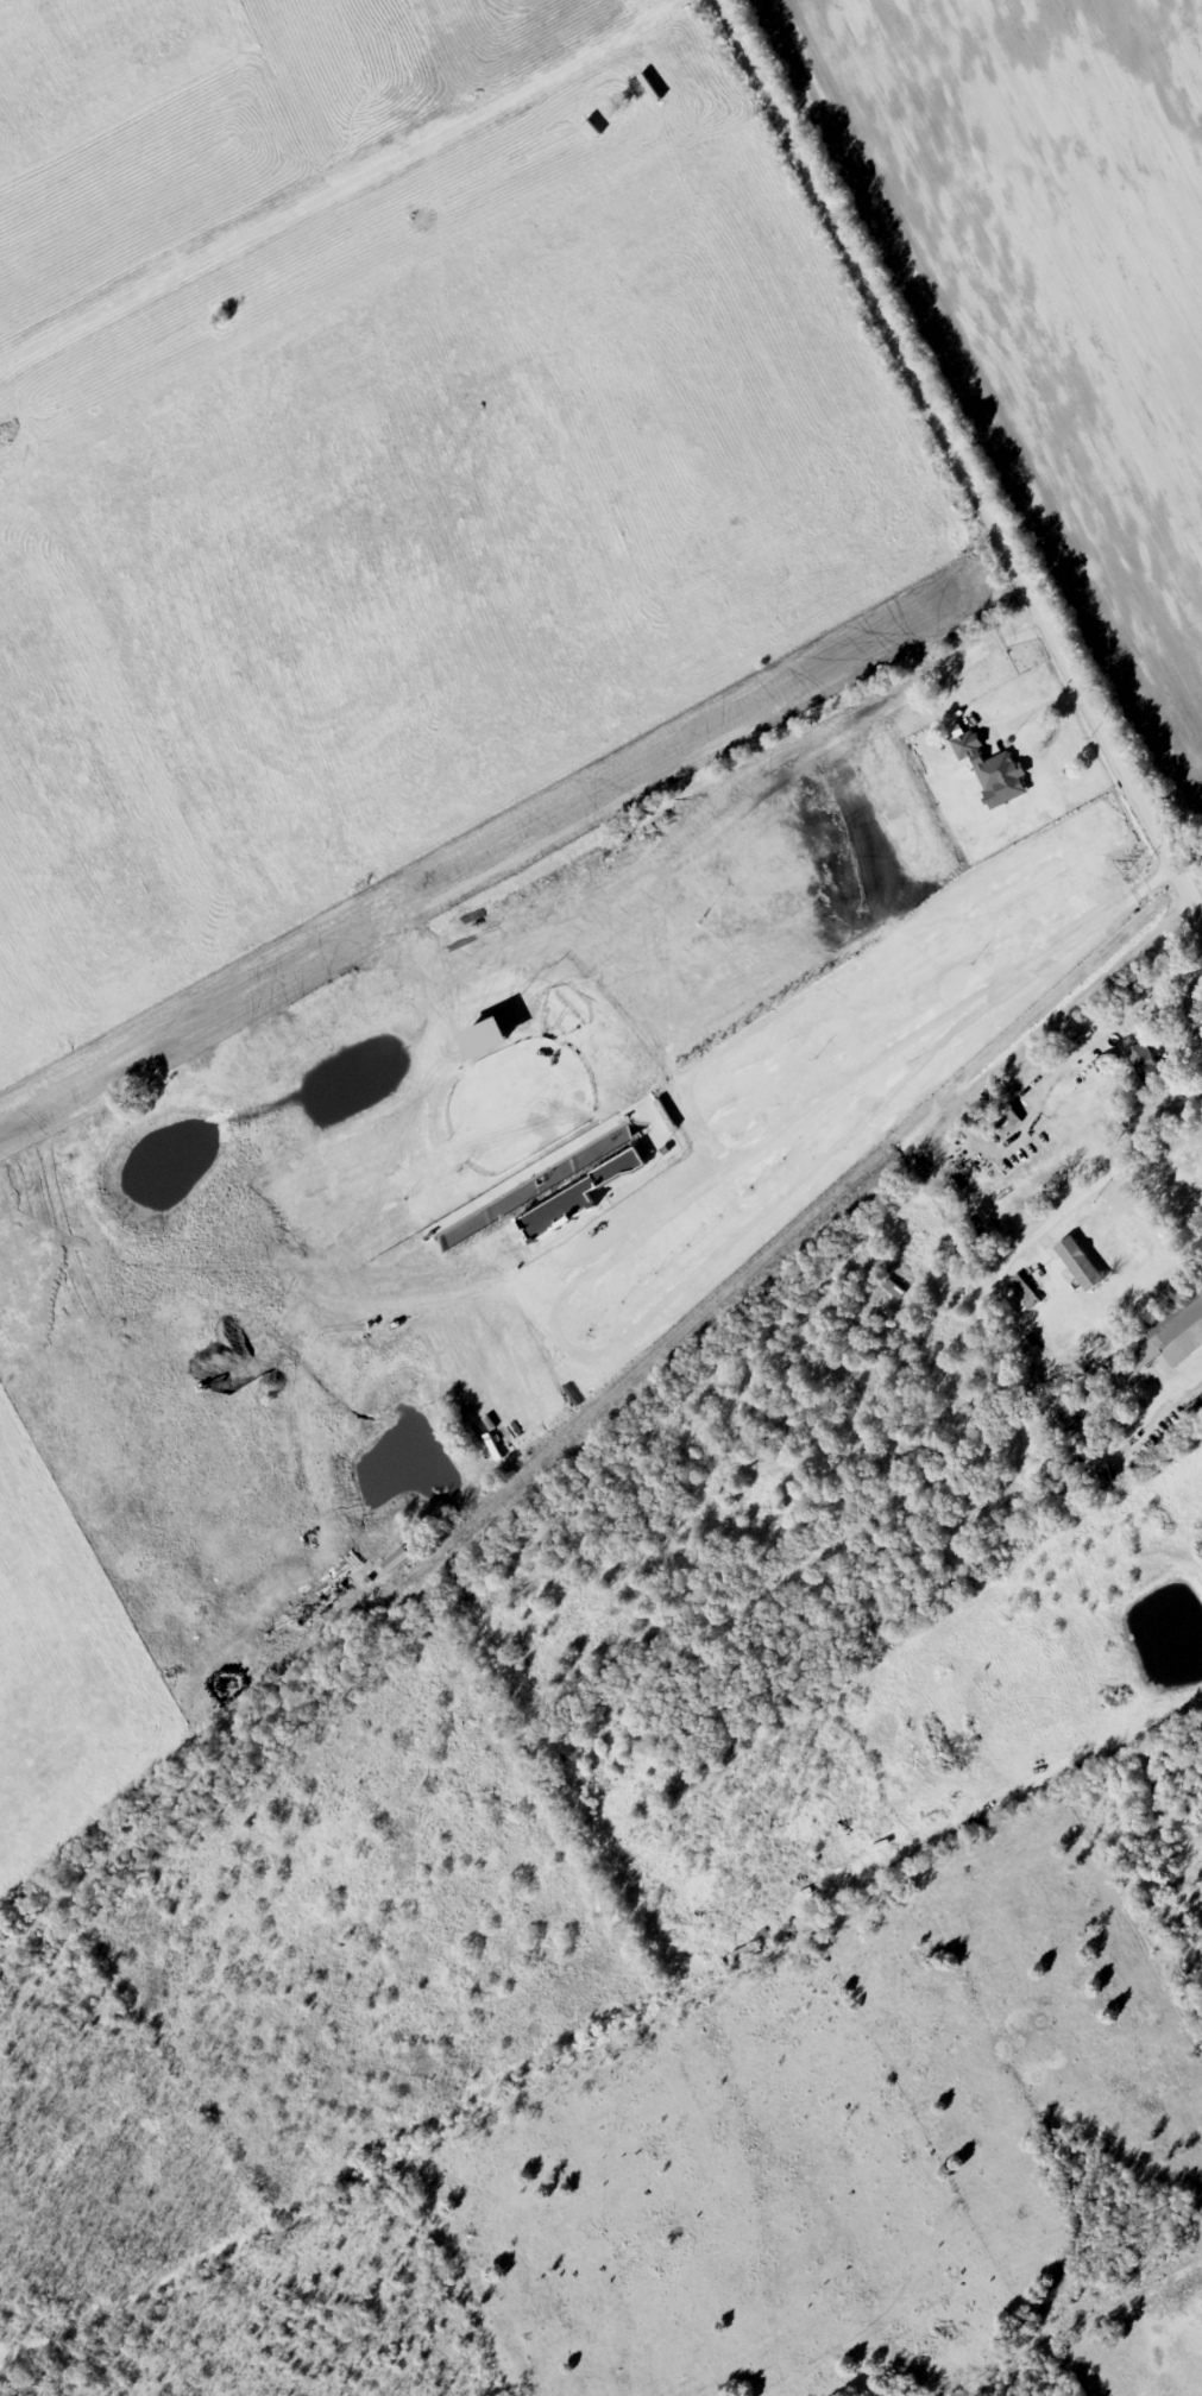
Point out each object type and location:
road: (963, 466)
building: (965, 748)
building: (1001, 778)
building: (1144, 1064)
building: (581, 1168)
building: (643, 1178)
building: (560, 1219)
building: (1084, 1266)
building: (900, 1275)
building: (1172, 1333)
building: (1195, 1411)
railway: (600, 1414)
road: (1049, 1784)
building: (986, 1824)
building: (741, 1955)

